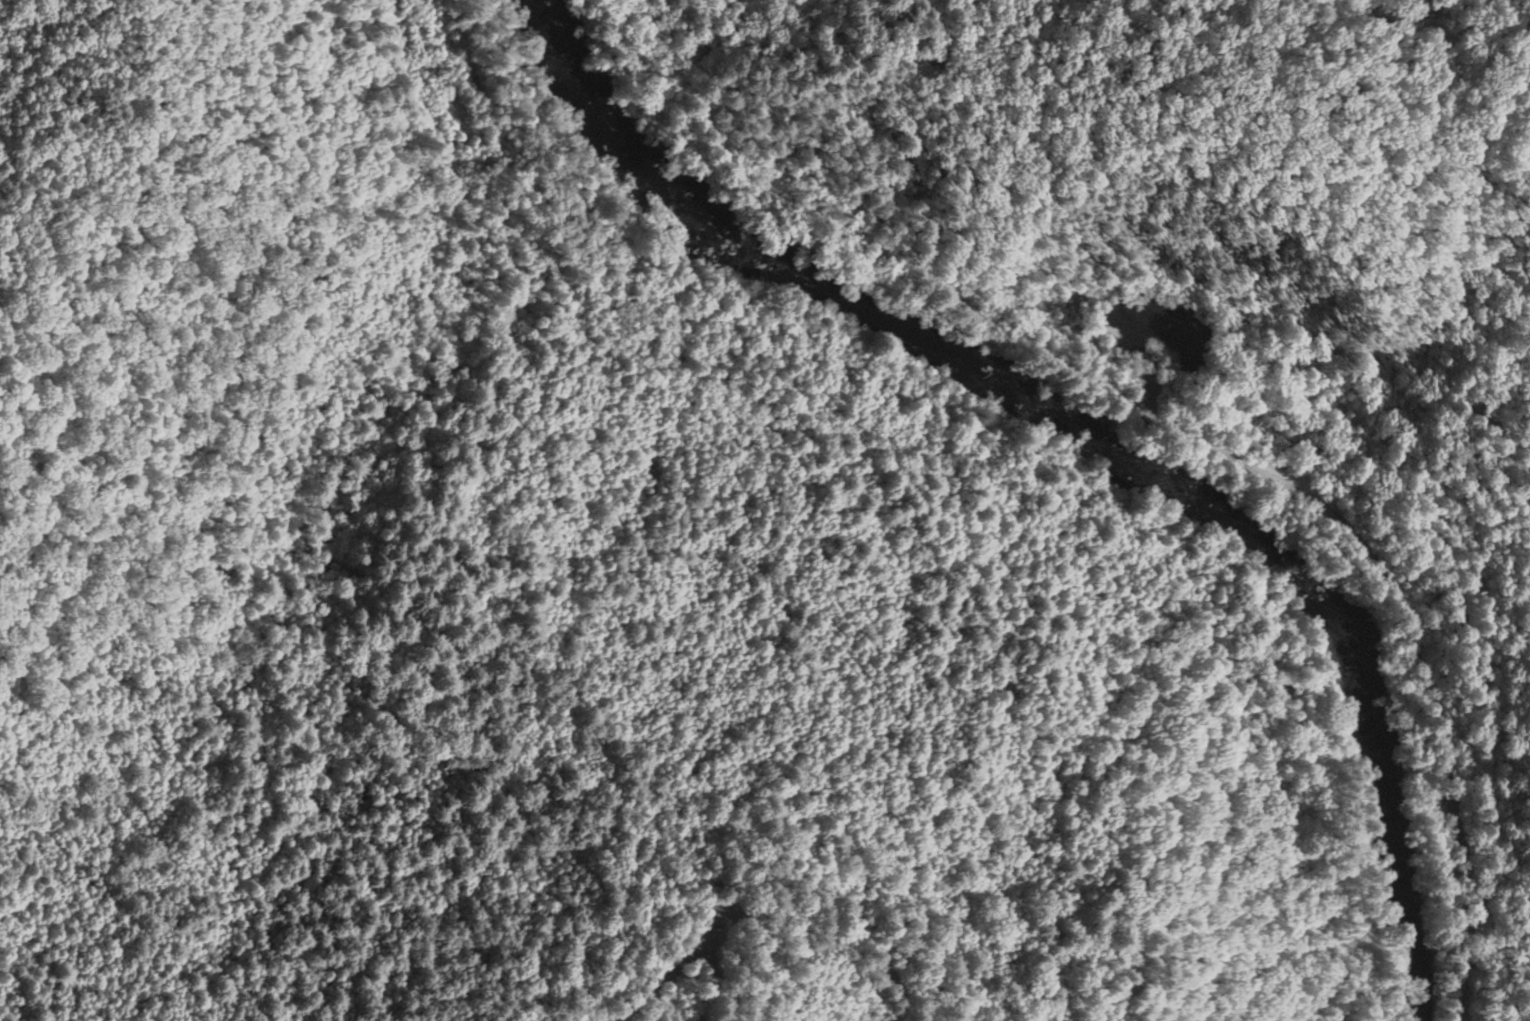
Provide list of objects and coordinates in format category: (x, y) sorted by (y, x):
river: (1095, 431)

